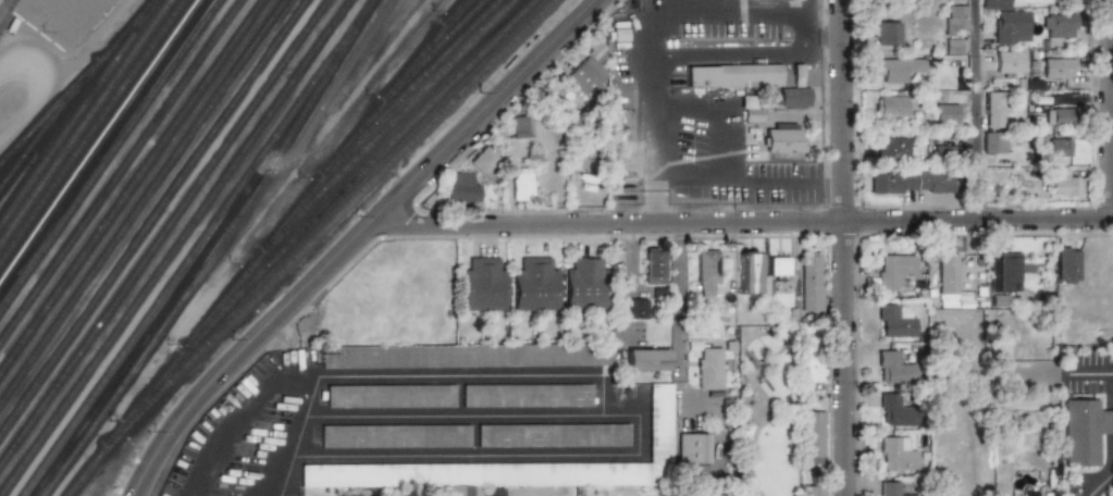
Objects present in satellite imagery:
building: (792, 0)
building: (993, 4)
railway: (462, 10)
building: (955, 18)
building: (1059, 25)
building: (1011, 27)
building: (887, 33)
railway: (440, 46)
building: (953, 46)
road: (642, 52)
building: (1009, 63)
building: (1059, 67)
building: (894, 69)
building: (586, 71)
building: (733, 75)
railway: (81, 85)
railway: (411, 90)
building: (793, 98)
building: (893, 106)
road: (977, 110)
building: (994, 110)
road: (1111, 110)
building: (947, 113)
railway: (79, 114)
building: (1061, 115)
railway: (395, 122)
railway: (86, 124)
building: (521, 126)
railway: (92, 133)
building: (783, 137)
railway: (38, 138)
building: (993, 141)
railway: (99, 142)
building: (1060, 147)
building: (894, 149)
building: (942, 150)
railway: (110, 157)
building: (482, 160)
railway: (121, 172)
railway: (360, 173)
building: (914, 182)
building: (522, 183)
road: (673, 184)
building: (1065, 185)
railway: (132, 187)
building: (461, 188)
railway: (143, 203)
railway: (296, 214)
railway: (153, 219)
road: (746, 222)
railway: (164, 234)
road: (354, 238)
railway: (309, 244)
railway: (176, 247)
road: (844, 247)
railway: (198, 248)
railway: (218, 252)
building: (1067, 264)
building: (653, 265)
building: (779, 269)
building: (894, 269)
building: (707, 272)
building: (751, 272)
building: (1010, 272)
building: (948, 281)
building: (811, 283)
building: (585, 284)
building: (483, 286)
building: (535, 286)
road: (679, 298)
building: (999, 300)
building: (1100, 300)
building: (638, 308)
building: (894, 321)
building: (468, 356)
building: (647, 359)
building: (812, 359)
building: (709, 367)
building: (893, 367)
road: (1112, 374)
road: (605, 394)
building: (393, 396)
building: (530, 397)
building: (895, 409)
road: (246, 418)
park: (769, 418)
road: (1111, 420)
building: (661, 426)
building: (1087, 431)
building: (813, 434)
building: (398, 437)
building: (556, 438)
building: (694, 447)
building: (895, 454)
road: (279, 456)
road: (382, 457)
building: (489, 474)
building: (893, 489)
building: (814, 491)
building: (489, 492)
building: (1049, 494)

